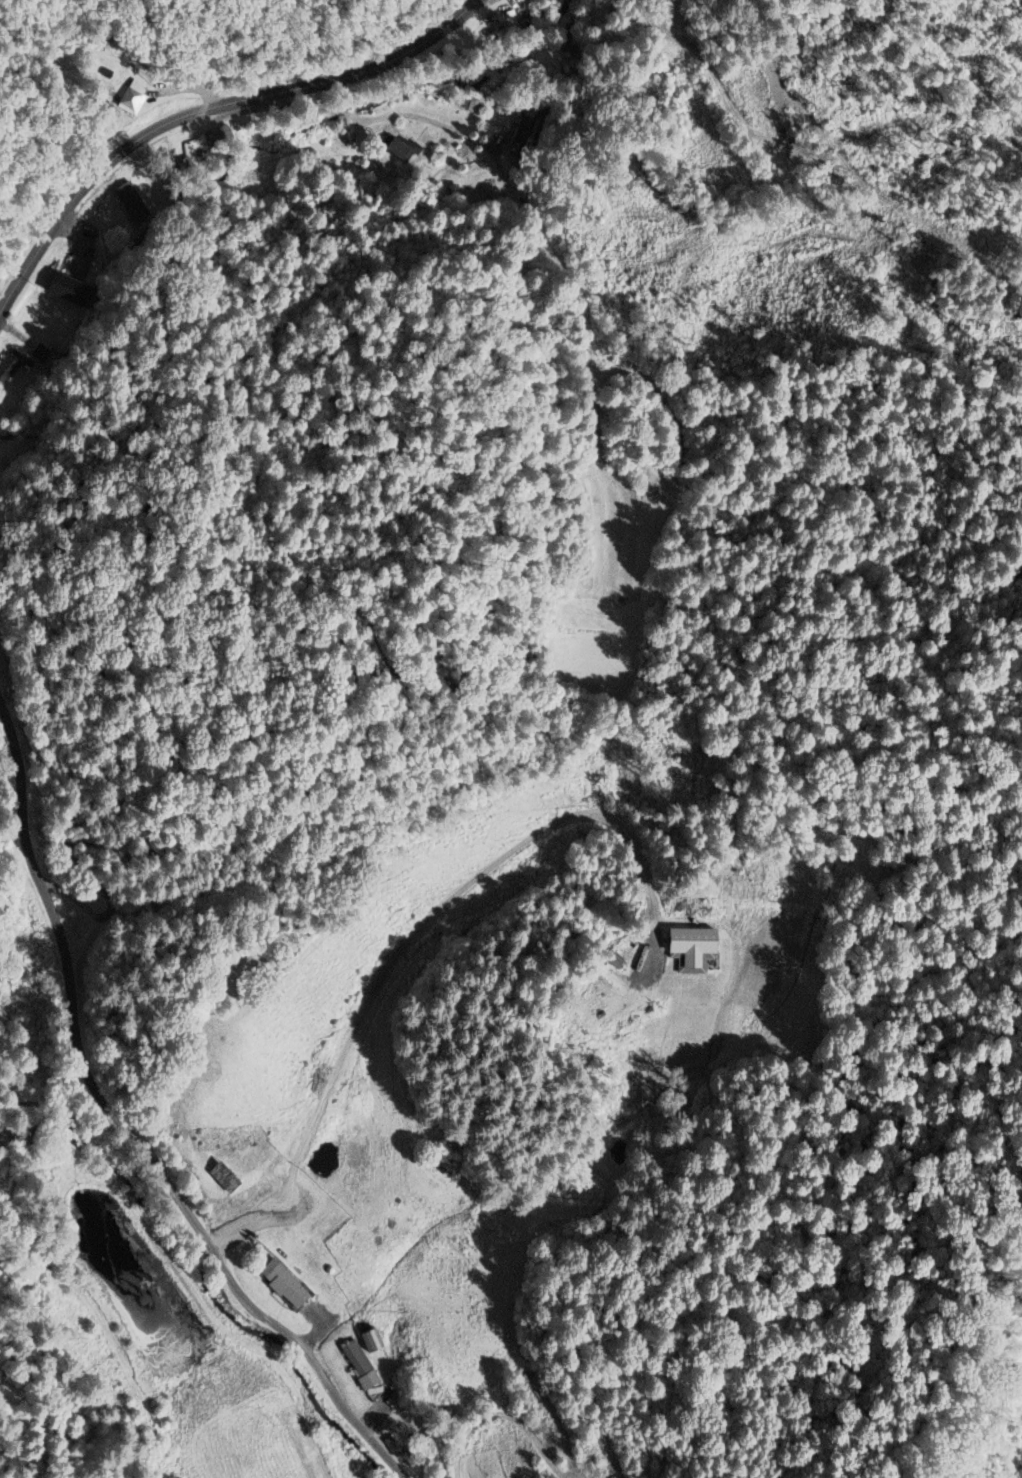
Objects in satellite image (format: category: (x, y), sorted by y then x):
road: (198, 115)
road: (124, 1128)
road: (503, 1405)

